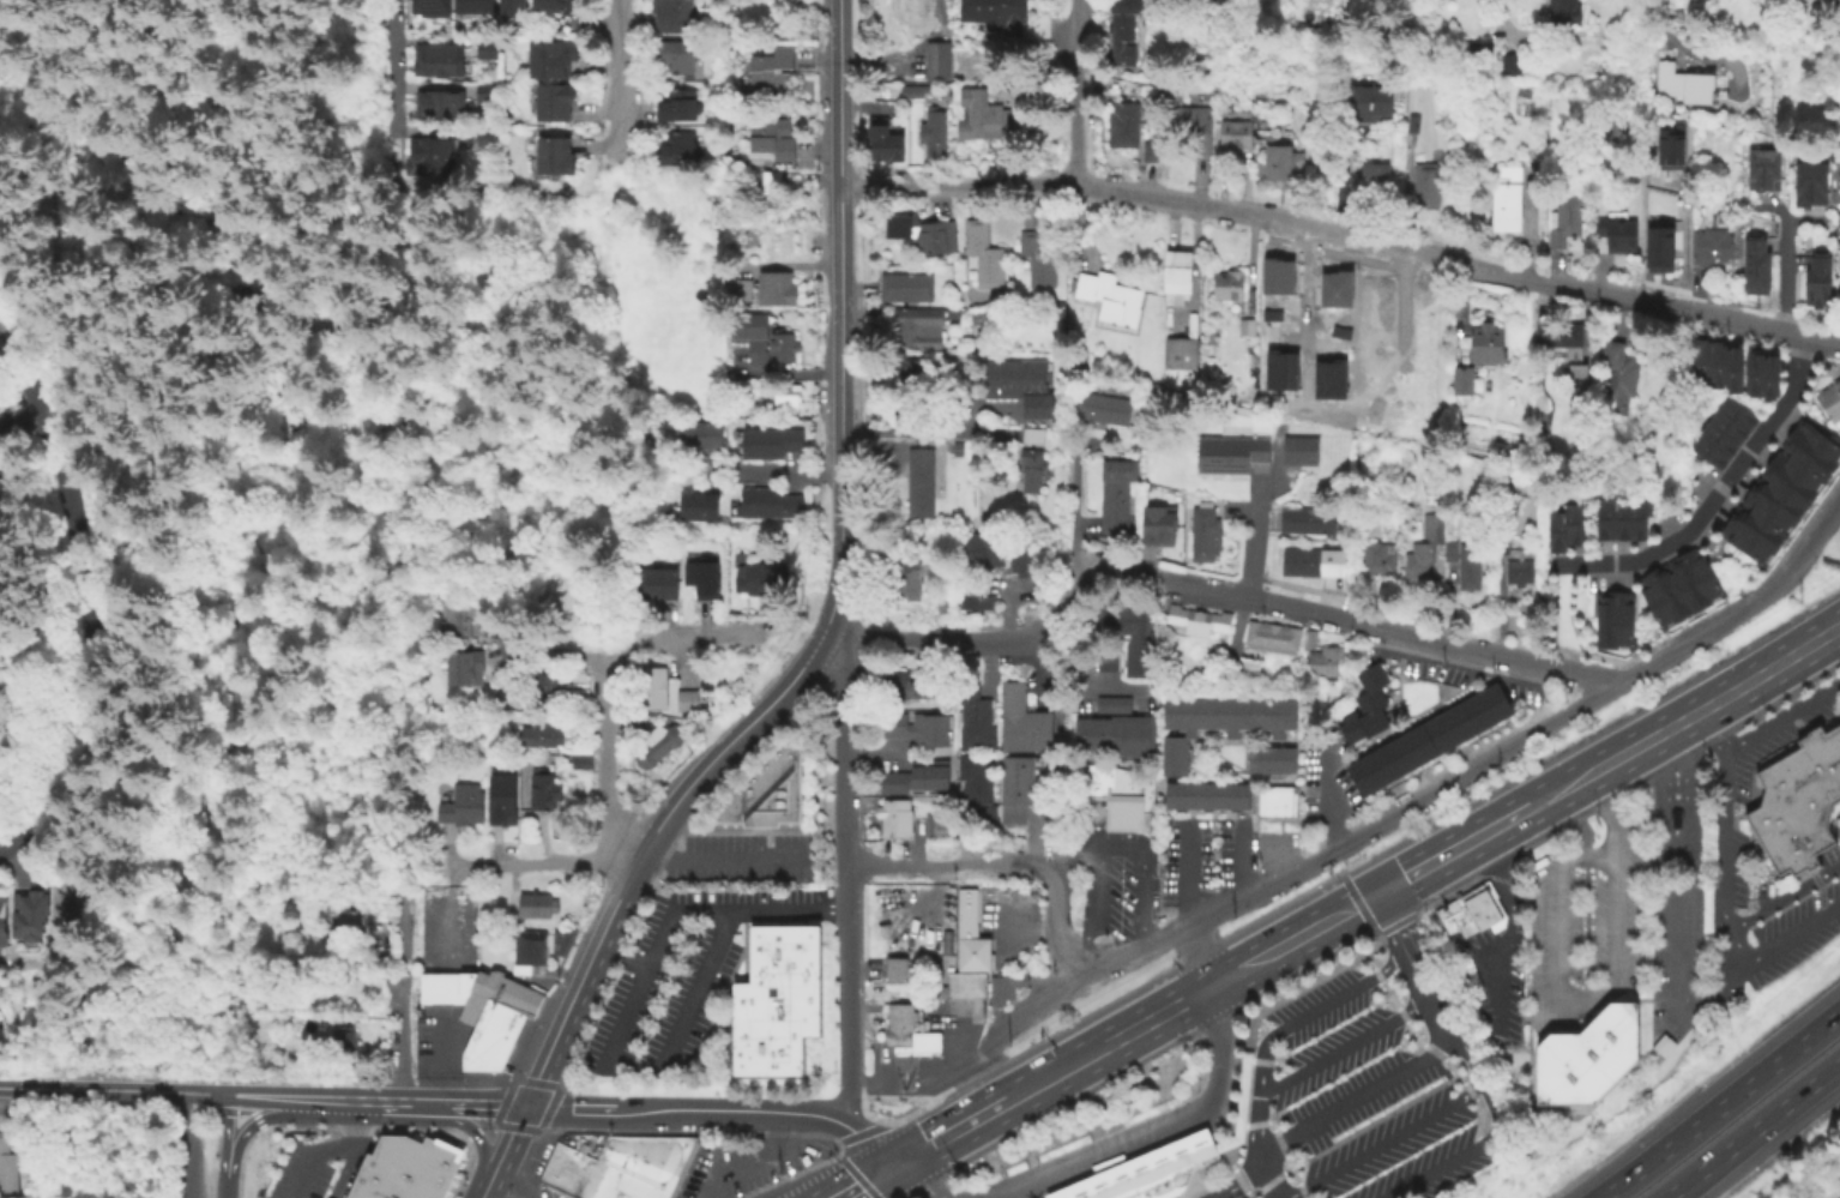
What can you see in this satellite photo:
building: (475, 6)
building: (432, 7)
building: (517, 8)
building: (999, 11)
building: (565, 12)
building: (1563, 12)
building: (894, 14)
building: (674, 17)
building: (1124, 18)
road: (1672, 37)
building: (1482, 49)
building: (491, 54)
building: (678, 58)
building: (439, 60)
building: (555, 60)
road: (397, 61)
building: (937, 61)
building: (1513, 61)
building: (773, 71)
building: (1669, 83)
road: (1073, 91)
building: (1526, 91)
road: (615, 92)
building: (916, 92)
building: (487, 95)
building: (1022, 97)
building: (1369, 101)
building: (555, 103)
building: (442, 107)
building: (681, 107)
building: (981, 118)
building: (1126, 126)
building: (1196, 127)
building: (1243, 127)
building: (1615, 131)
road: (26, 136)
building: (935, 136)
building: (774, 138)
building: (488, 140)
building: (885, 144)
road: (59, 146)
building: (1669, 148)
building: (678, 150)
building: (1153, 151)
building: (555, 156)
building: (435, 163)
building: (1281, 164)
building: (1763, 175)
building: (1374, 180)
building: (1429, 186)
road: (958, 187)
building: (1811, 187)
building: (771, 192)
building: (1508, 199)
building: (1565, 222)
building: (1619, 234)
building: (935, 237)
road: (1357, 237)
road: (1683, 242)
building: (1660, 246)
building: (1713, 247)
road: (1780, 253)
building: (985, 254)
building: (1040, 259)
building: (1756, 271)
building: (1178, 275)
building: (1280, 276)
building: (1818, 283)
building: (1230, 284)
building: (906, 287)
building: (744, 289)
building: (777, 289)
building: (1340, 289)
building: (1110, 296)
road: (1658, 305)
building: (1275, 314)
building: (1160, 319)
road: (843, 321)
building: (752, 324)
road: (1749, 324)
building: (1248, 326)
building: (1344, 332)
building: (919, 333)
road: (1830, 339)
road: (290, 344)
building: (1490, 344)
road: (219, 347)
building: (783, 348)
building: (1569, 351)
building: (1183, 355)
building: (1700, 360)
building: (1717, 362)
building: (1732, 368)
building: (1284, 369)
building: (1752, 371)
building: (910, 372)
building: (1621, 374)
building: (1769, 375)
building: (1333, 379)
building: (1465, 380)
building: (1020, 385)
building: (1829, 398)
building: (784, 401)
road: (556, 408)
building: (1104, 410)
building: (1736, 411)
road: (132, 413)
building: (1726, 423)
road: (25, 425)
road: (912, 429)
building: (1717, 437)
building: (1033, 438)
building: (704, 440)
building: (773, 443)
building: (1810, 445)
building: (1303, 449)
building: (958, 450)
building: (1707, 450)
building: (1232, 454)
building: (1120, 465)
building: (1032, 470)
road: (776, 474)
building: (1790, 475)
building: (922, 482)
building: (1, 493)
road: (1712, 494)
road: (169, 495)
building: (1115, 504)
building: (699, 505)
building: (773, 505)
building: (1770, 505)
building: (1208, 510)
building: (1603, 518)
building: (1619, 518)
building: (1636, 518)
building: (1305, 519)
building: (1160, 522)
building: (1573, 522)
building: (1367, 525)
building: (1555, 530)
building: (1750, 535)
road: (1251, 537)
building: (1208, 540)
building: (1503, 543)
building: (977, 547)
building: (1425, 550)
building: (1447, 550)
building: (1019, 558)
building: (1379, 559)
building: (1311, 561)
building: (1471, 568)
building: (1520, 572)
building: (704, 576)
building: (764, 577)
building: (1694, 577)
building: (909, 580)
building: (662, 584)
building: (1663, 594)
building: (972, 597)
road: (89, 598)
road: (1230, 598)
building: (943, 602)
road: (1064, 602)
building: (1181, 616)
building: (1613, 616)
building: (461, 620)
building: (1211, 621)
building: (1256, 634)
building: (1136, 637)
building: (1284, 639)
building: (1311, 639)
road: (930, 640)
road: (1458, 649)
road: (620, 651)
building: (1104, 662)
building: (1327, 662)
building: (463, 669)
road: (1579, 674)
building: (547, 687)
building: (901, 688)
building: (654, 690)
building: (688, 702)
building: (1111, 703)
building: (1364, 705)
building: (1227, 715)
road: (1782, 715)
building: (976, 720)
road: (1687, 720)
building: (1025, 722)
building: (919, 733)
building: (1111, 733)
building: (542, 735)
building: (1426, 738)
building: (662, 746)
building: (579, 749)
building: (1172, 757)
building: (1268, 759)
road: (603, 763)
building: (580, 766)
building: (2, 781)
road: (696, 782)
building: (916, 782)
building: (765, 787)
building: (979, 789)
road: (1653, 790)
road: (1688, 790)
building: (542, 791)
building: (1018, 793)
building: (1115, 793)
building: (501, 794)
building: (1205, 794)
road: (1428, 797)
building: (1797, 799)
building: (1273, 800)
road: (1331, 800)
building: (463, 808)
road: (1609, 814)
building: (1673, 817)
building: (897, 823)
building: (937, 829)
road: (378, 845)
road: (1455, 851)
road: (2, 854)
road: (1136, 855)
road: (1642, 857)
road: (724, 859)
road: (1275, 859)
road: (1237, 861)
road: (548, 862)
road: (948, 865)
road: (391, 868)
road: (1184, 875)
road: (849, 878)
traffic signals: (1380, 895)
road: (1780, 895)
road: (1721, 898)
road: (1369, 899)
road: (1357, 902)
building: (537, 907)
road: (671, 907)
building: (1471, 909)
building: (26, 913)
building: (345, 914)
building: (1, 919)
road: (1057, 927)
road: (1671, 929)
building: (969, 931)
road: (1387, 932)
road: (1508, 935)
building: (559, 940)
building: (526, 946)
road: (1285, 946)
road: (1412, 958)
road: (1199, 959)
building: (894, 968)
road: (698, 982)
building: (961, 983)
building: (1002, 985)
road: (1308, 987)
road: (404, 994)
road: (1552, 997)
building: (777, 1000)
building: (483, 1010)
road: (562, 1024)
building: (1, 1037)
building: (907, 1040)
building: (344, 1041)
road: (1263, 1042)
road: (1343, 1045)
building: (1586, 1055)
road: (441, 1061)
road: (948, 1070)
road: (904, 1076)
road: (1056, 1076)
road: (871, 1084)
parking lot: (1370, 1089)
road: (68, 1090)
road: (164, 1091)
road: (205, 1094)
road: (260, 1095)
road: (1241, 1096)
road: (337, 1097)
road: (1355, 1097)
road: (387, 1098)
road: (421, 1100)
road: (482, 1102)
road: (127, 1104)
road: (569, 1107)
road: (1720, 1108)
road: (738, 1109)
road: (1188, 1119)
road: (242, 1130)
road: (1754, 1132)
road: (1490, 1133)
road: (1386, 1138)
road: (478, 1140)
road: (227, 1144)
road: (182, 1145)
road: (881, 1146)
road: (328, 1148)
road: (1217, 1148)
road: (503, 1151)
building: (802, 1157)
road: (752, 1160)
building: (1158, 1160)
road: (843, 1163)
traffic signals: (903, 1163)
parking lot: (744, 1164)
building: (6, 1166)
building: (619, 1166)
building: (406, 1168)
road: (1203, 1168)
road: (345, 1172)
road: (1150, 1172)
parking lot: (533, 1173)
road: (1236, 1173)
road: (1263, 1176)
road: (870, 1180)
road: (921, 1185)
road: (1027, 1187)
road: (505, 1191)

